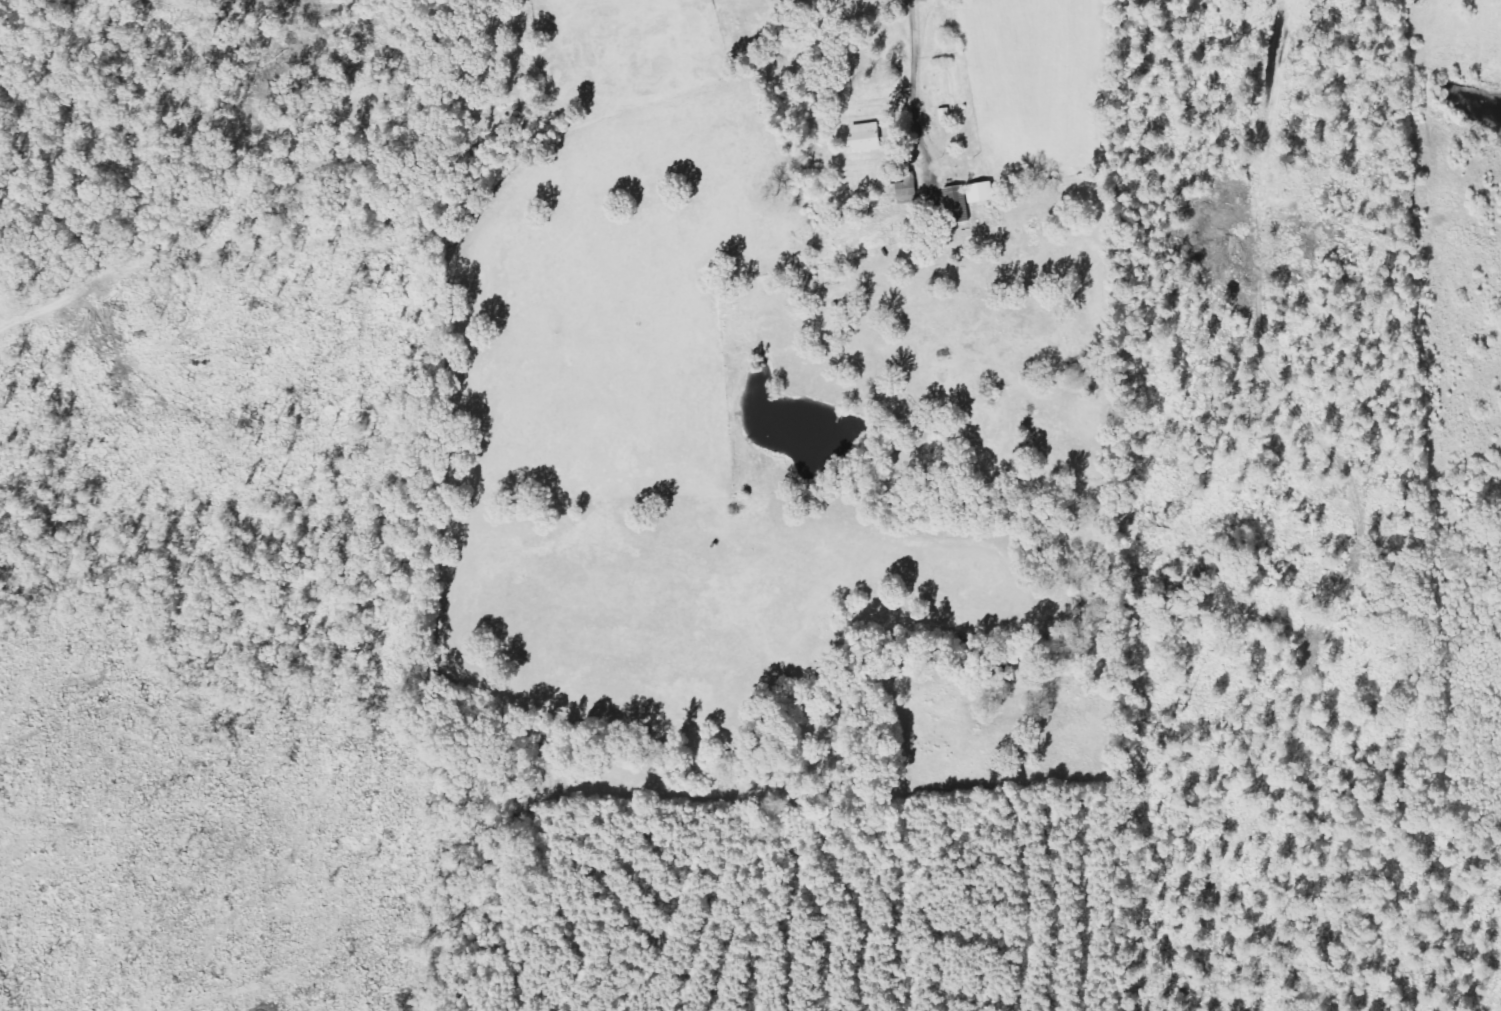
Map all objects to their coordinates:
road: (859, 16)
road: (936, 80)
building: (870, 137)
building: (970, 200)

